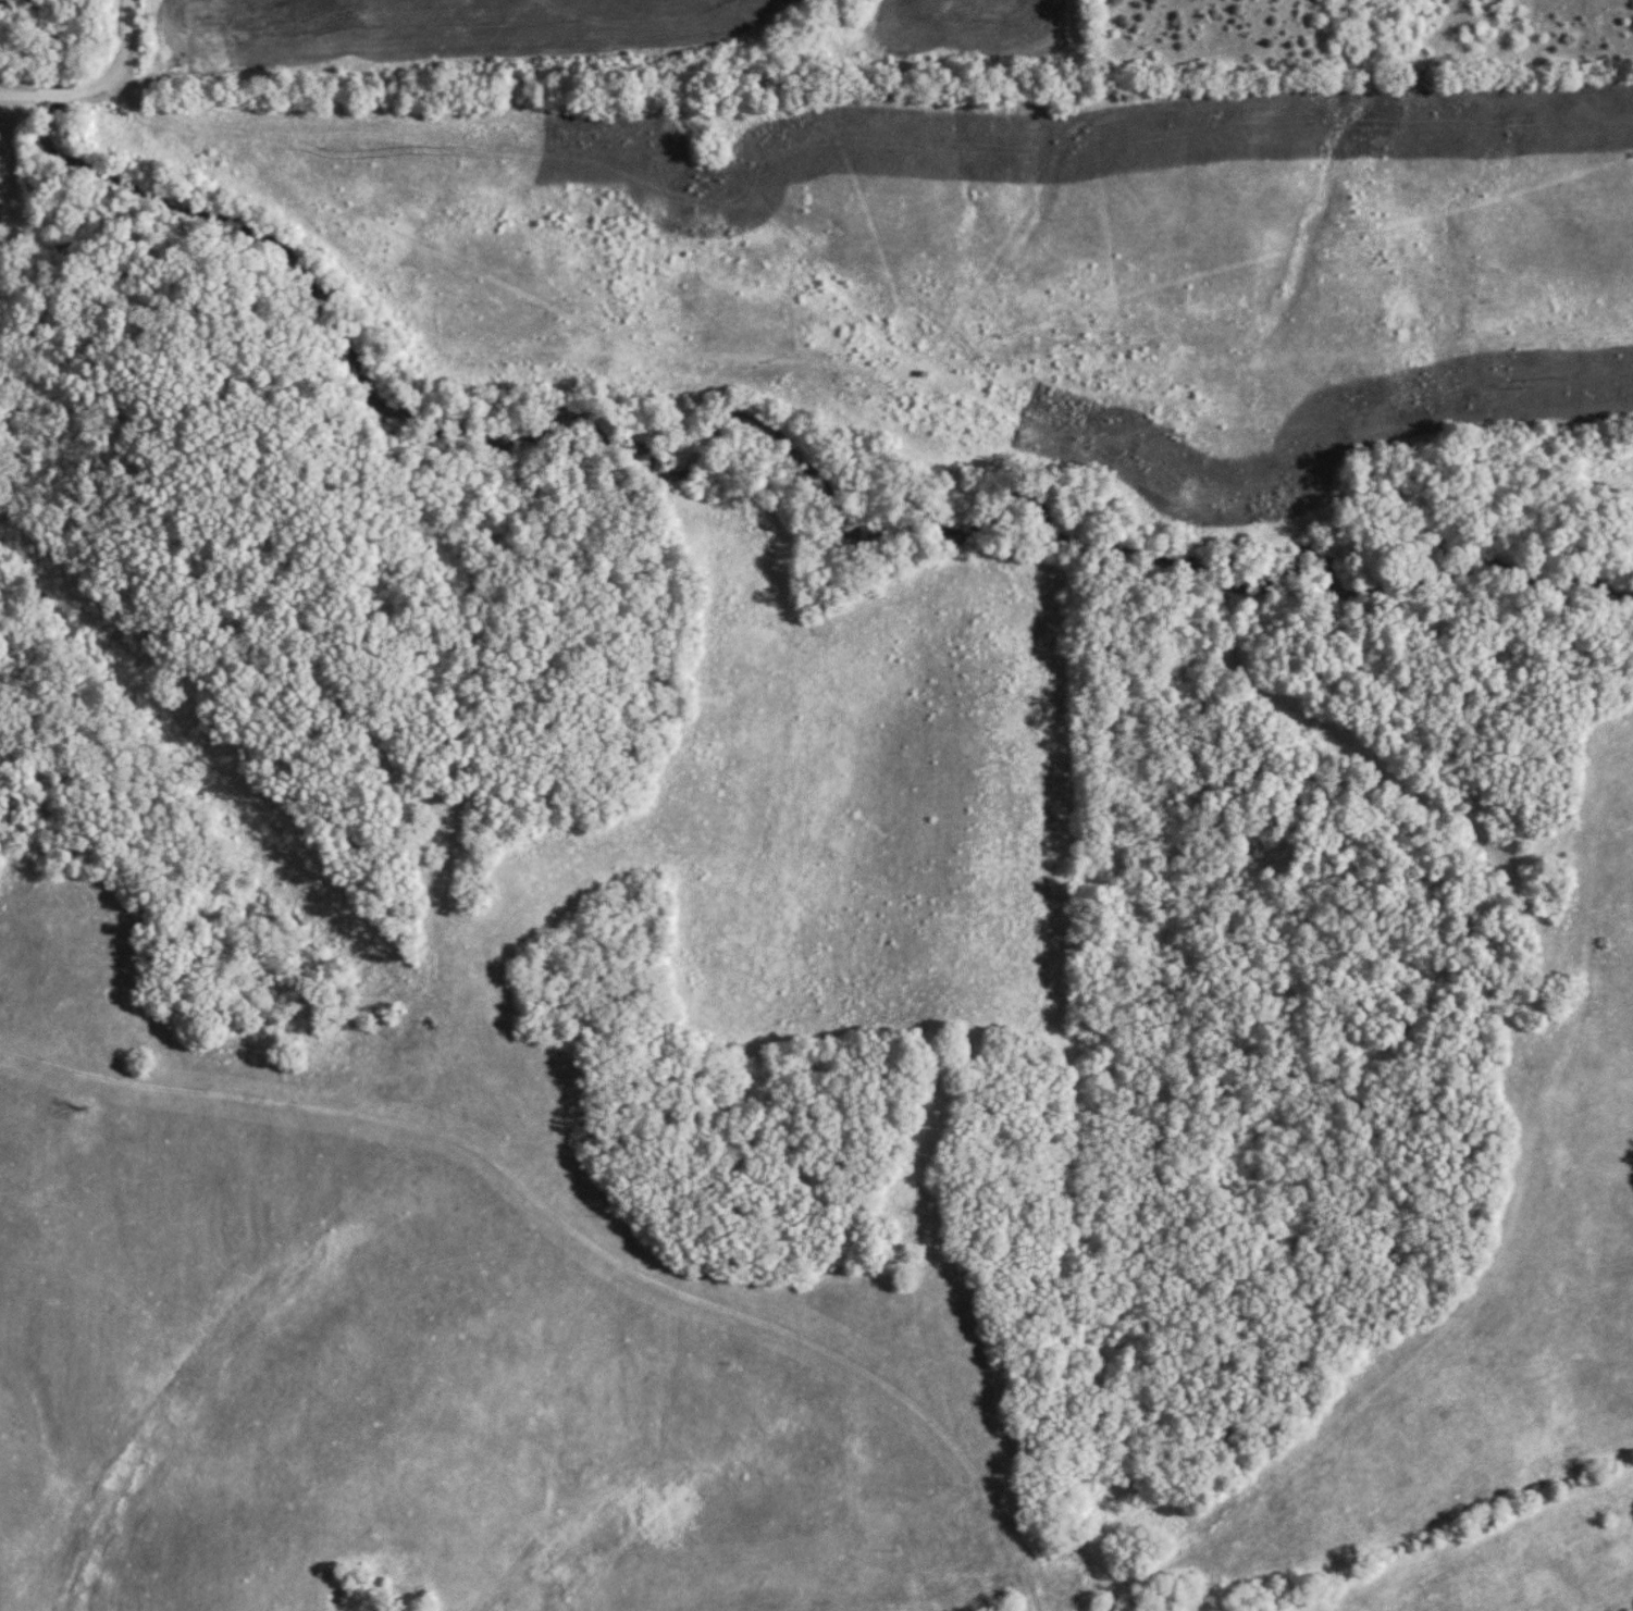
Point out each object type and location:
road: (96, 84)

